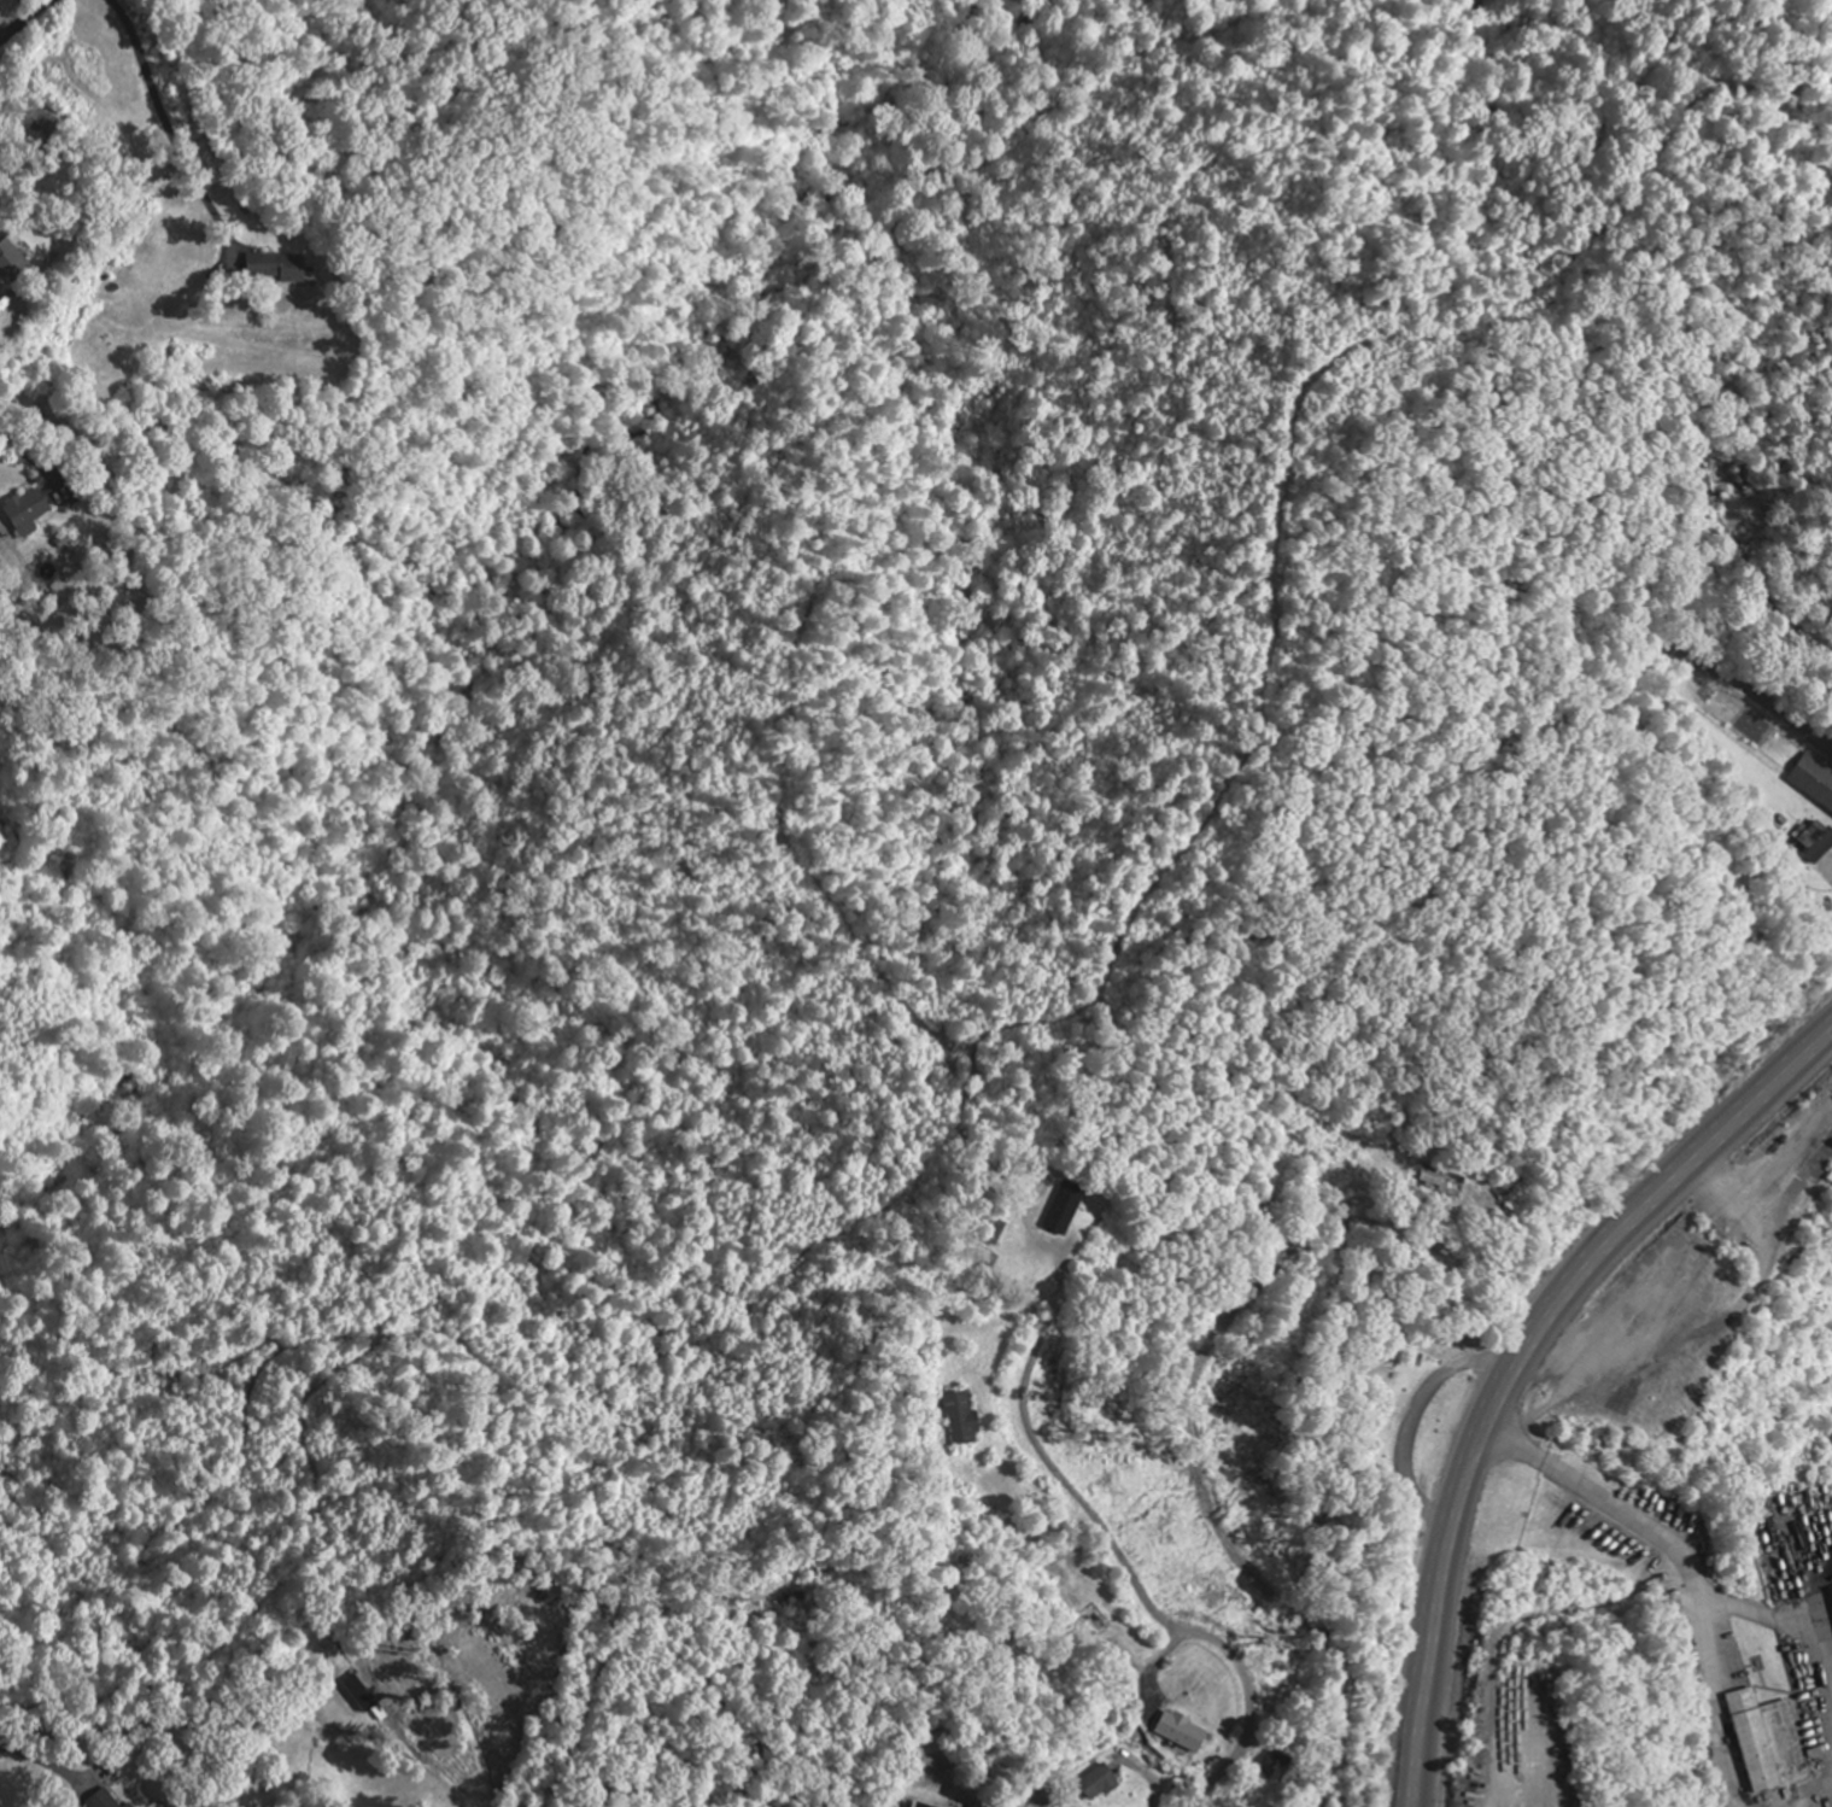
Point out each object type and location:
road: (5, 8)
road: (25, 24)
road: (230, 245)
building: (14, 261)
building: (280, 267)
road: (30, 462)
building: (29, 511)
building: (1814, 779)
building: (1814, 841)
road: (1516, 1359)
building: (962, 1417)
road: (1205, 1504)
road: (1129, 1579)
building: (363, 1694)
road: (245, 1721)
building: (1182, 1731)
building: (1764, 1738)
building: (1277, 1764)
building: (1100, 1782)
building: (105, 1800)
building: (130, 1805)
building: (920, 1805)

